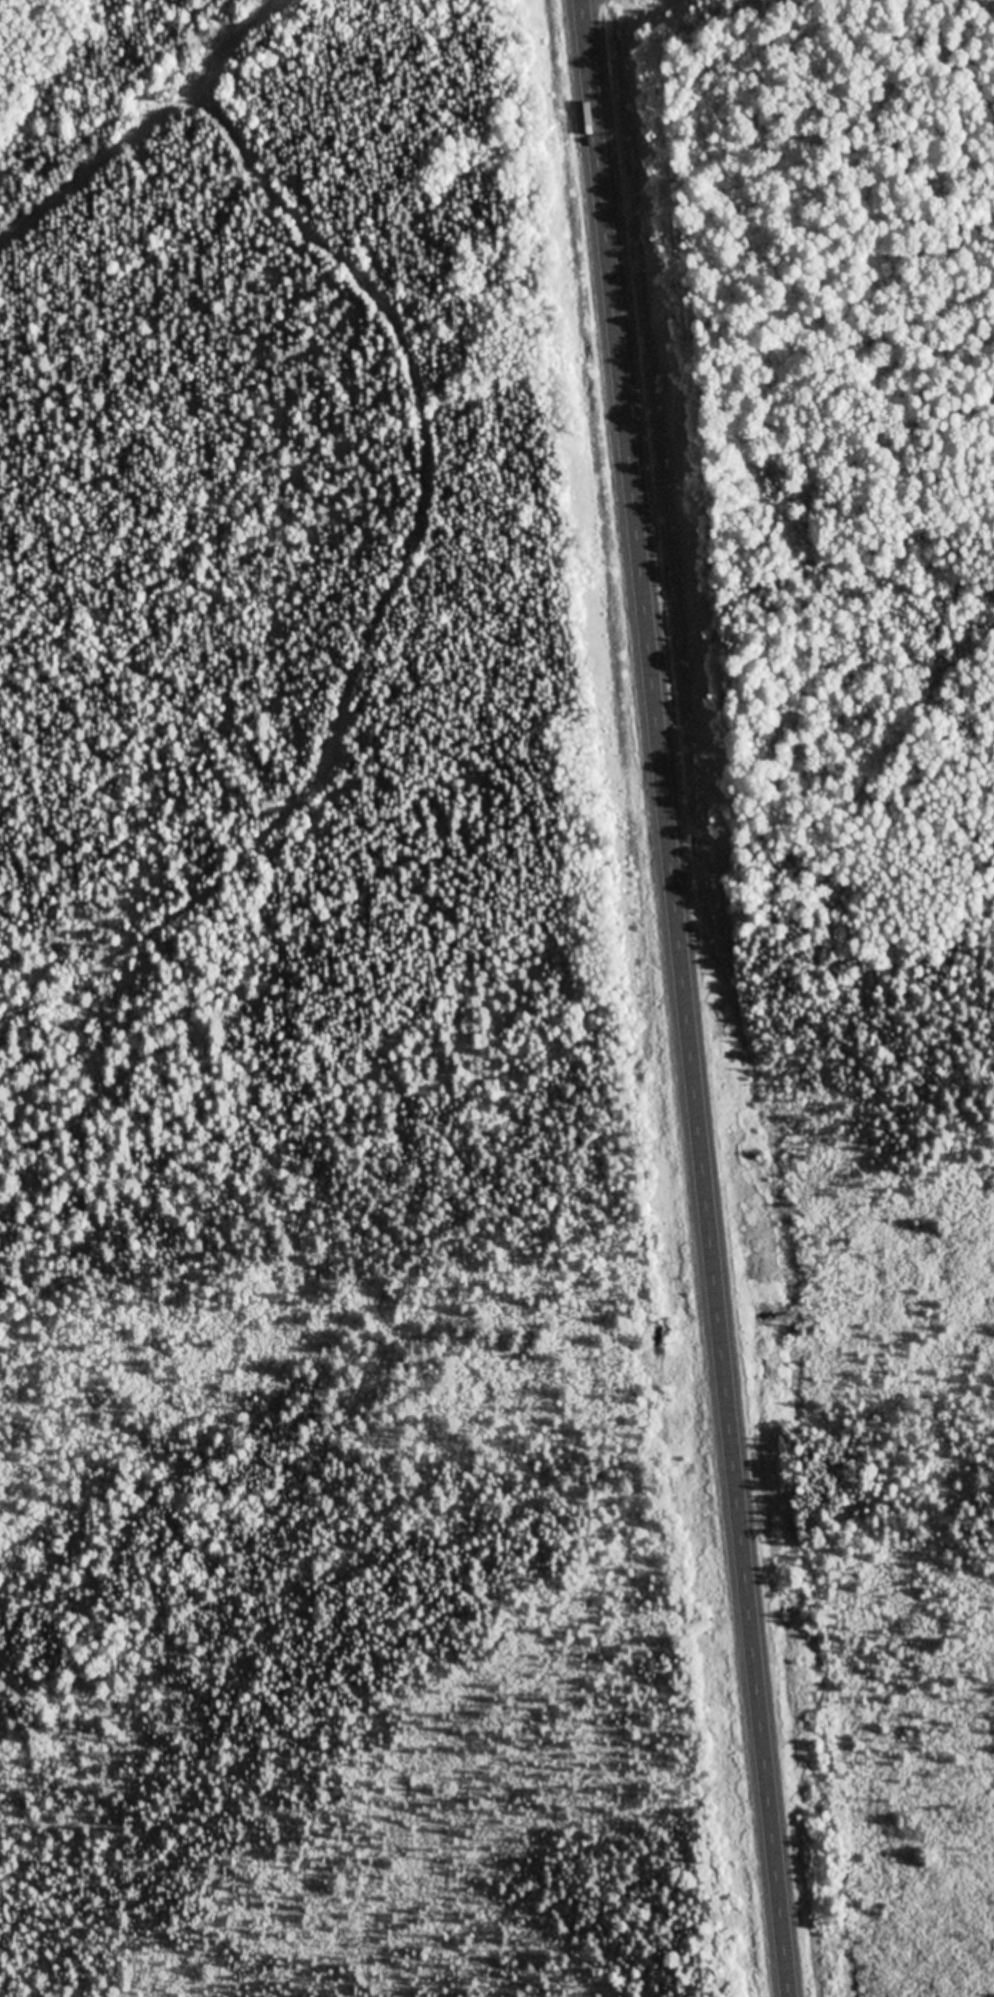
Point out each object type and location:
road: (684, 998)

